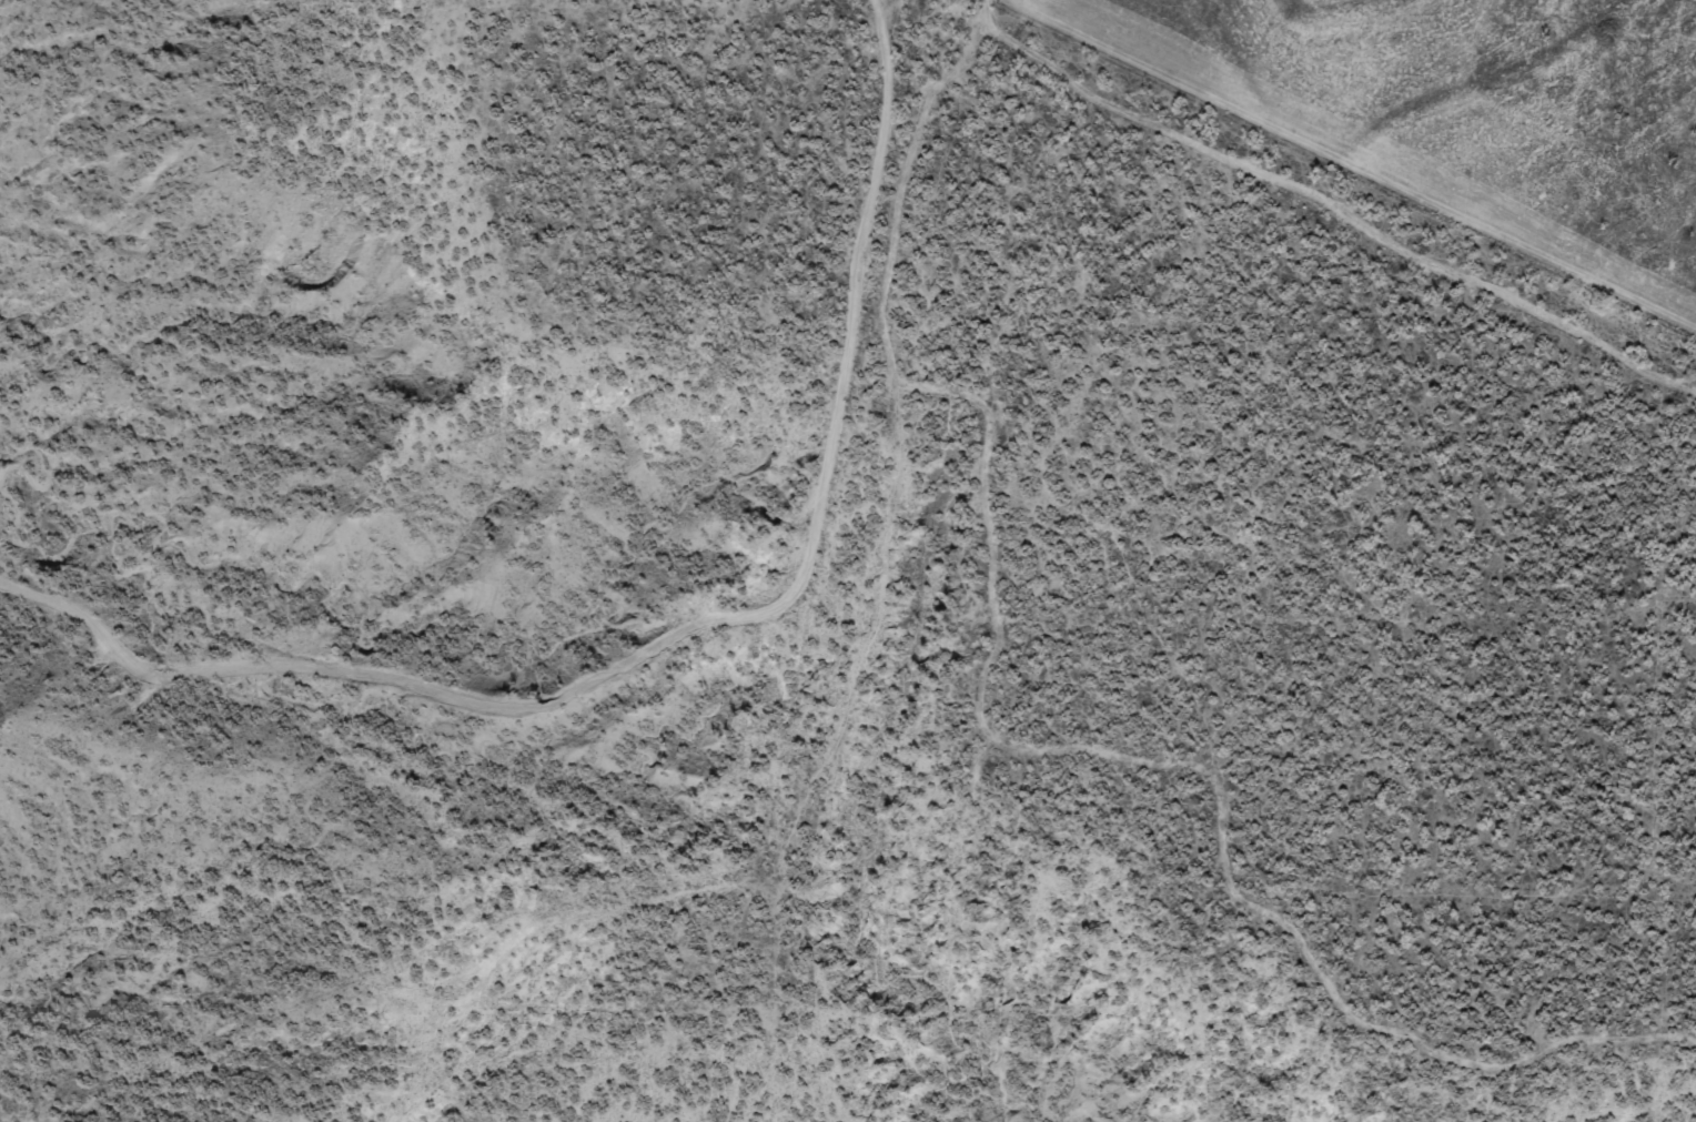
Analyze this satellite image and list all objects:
road: (603, 578)

